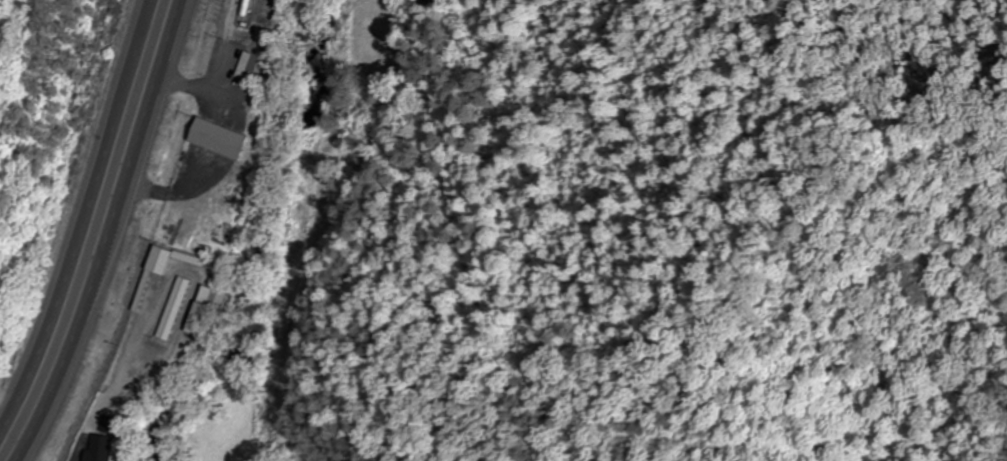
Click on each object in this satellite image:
building: (248, 67)
road: (81, 216)
road: (113, 234)
building: (207, 308)
building: (176, 310)
building: (101, 448)

